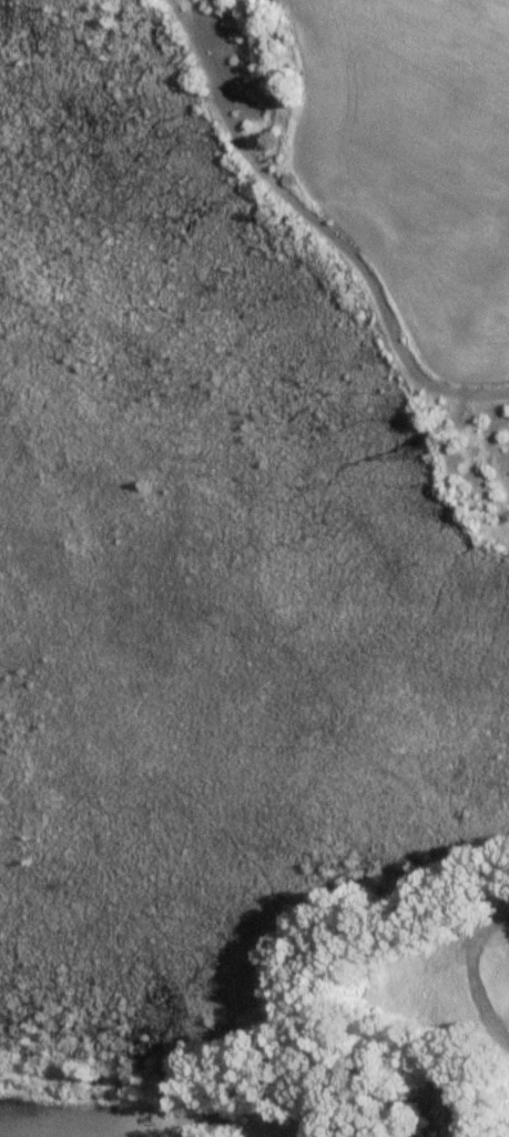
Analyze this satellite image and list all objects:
road: (315, 227)

